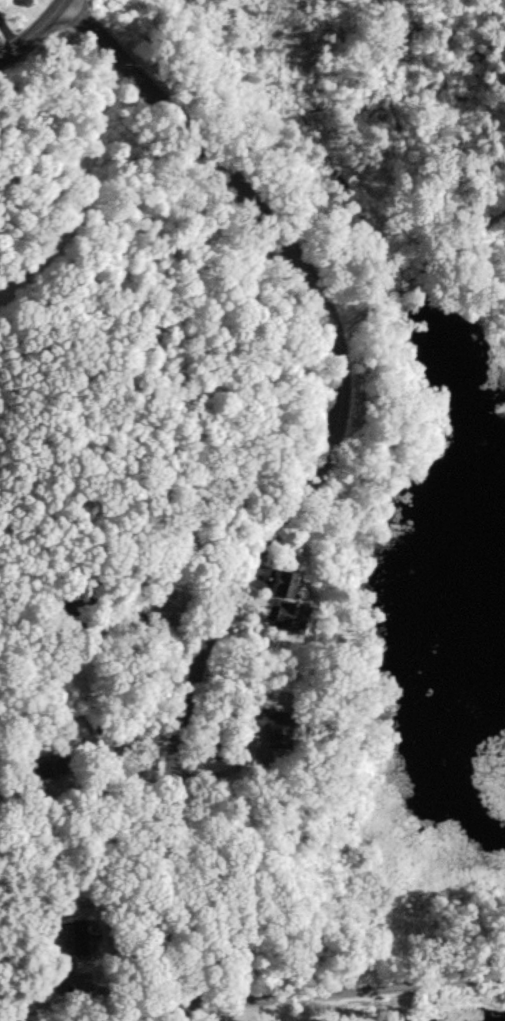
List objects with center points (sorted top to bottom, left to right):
road: (36, 32)
road: (309, 470)
building: (280, 608)
road: (82, 709)
building: (260, 722)
road: (343, 985)
road: (181, 1011)

